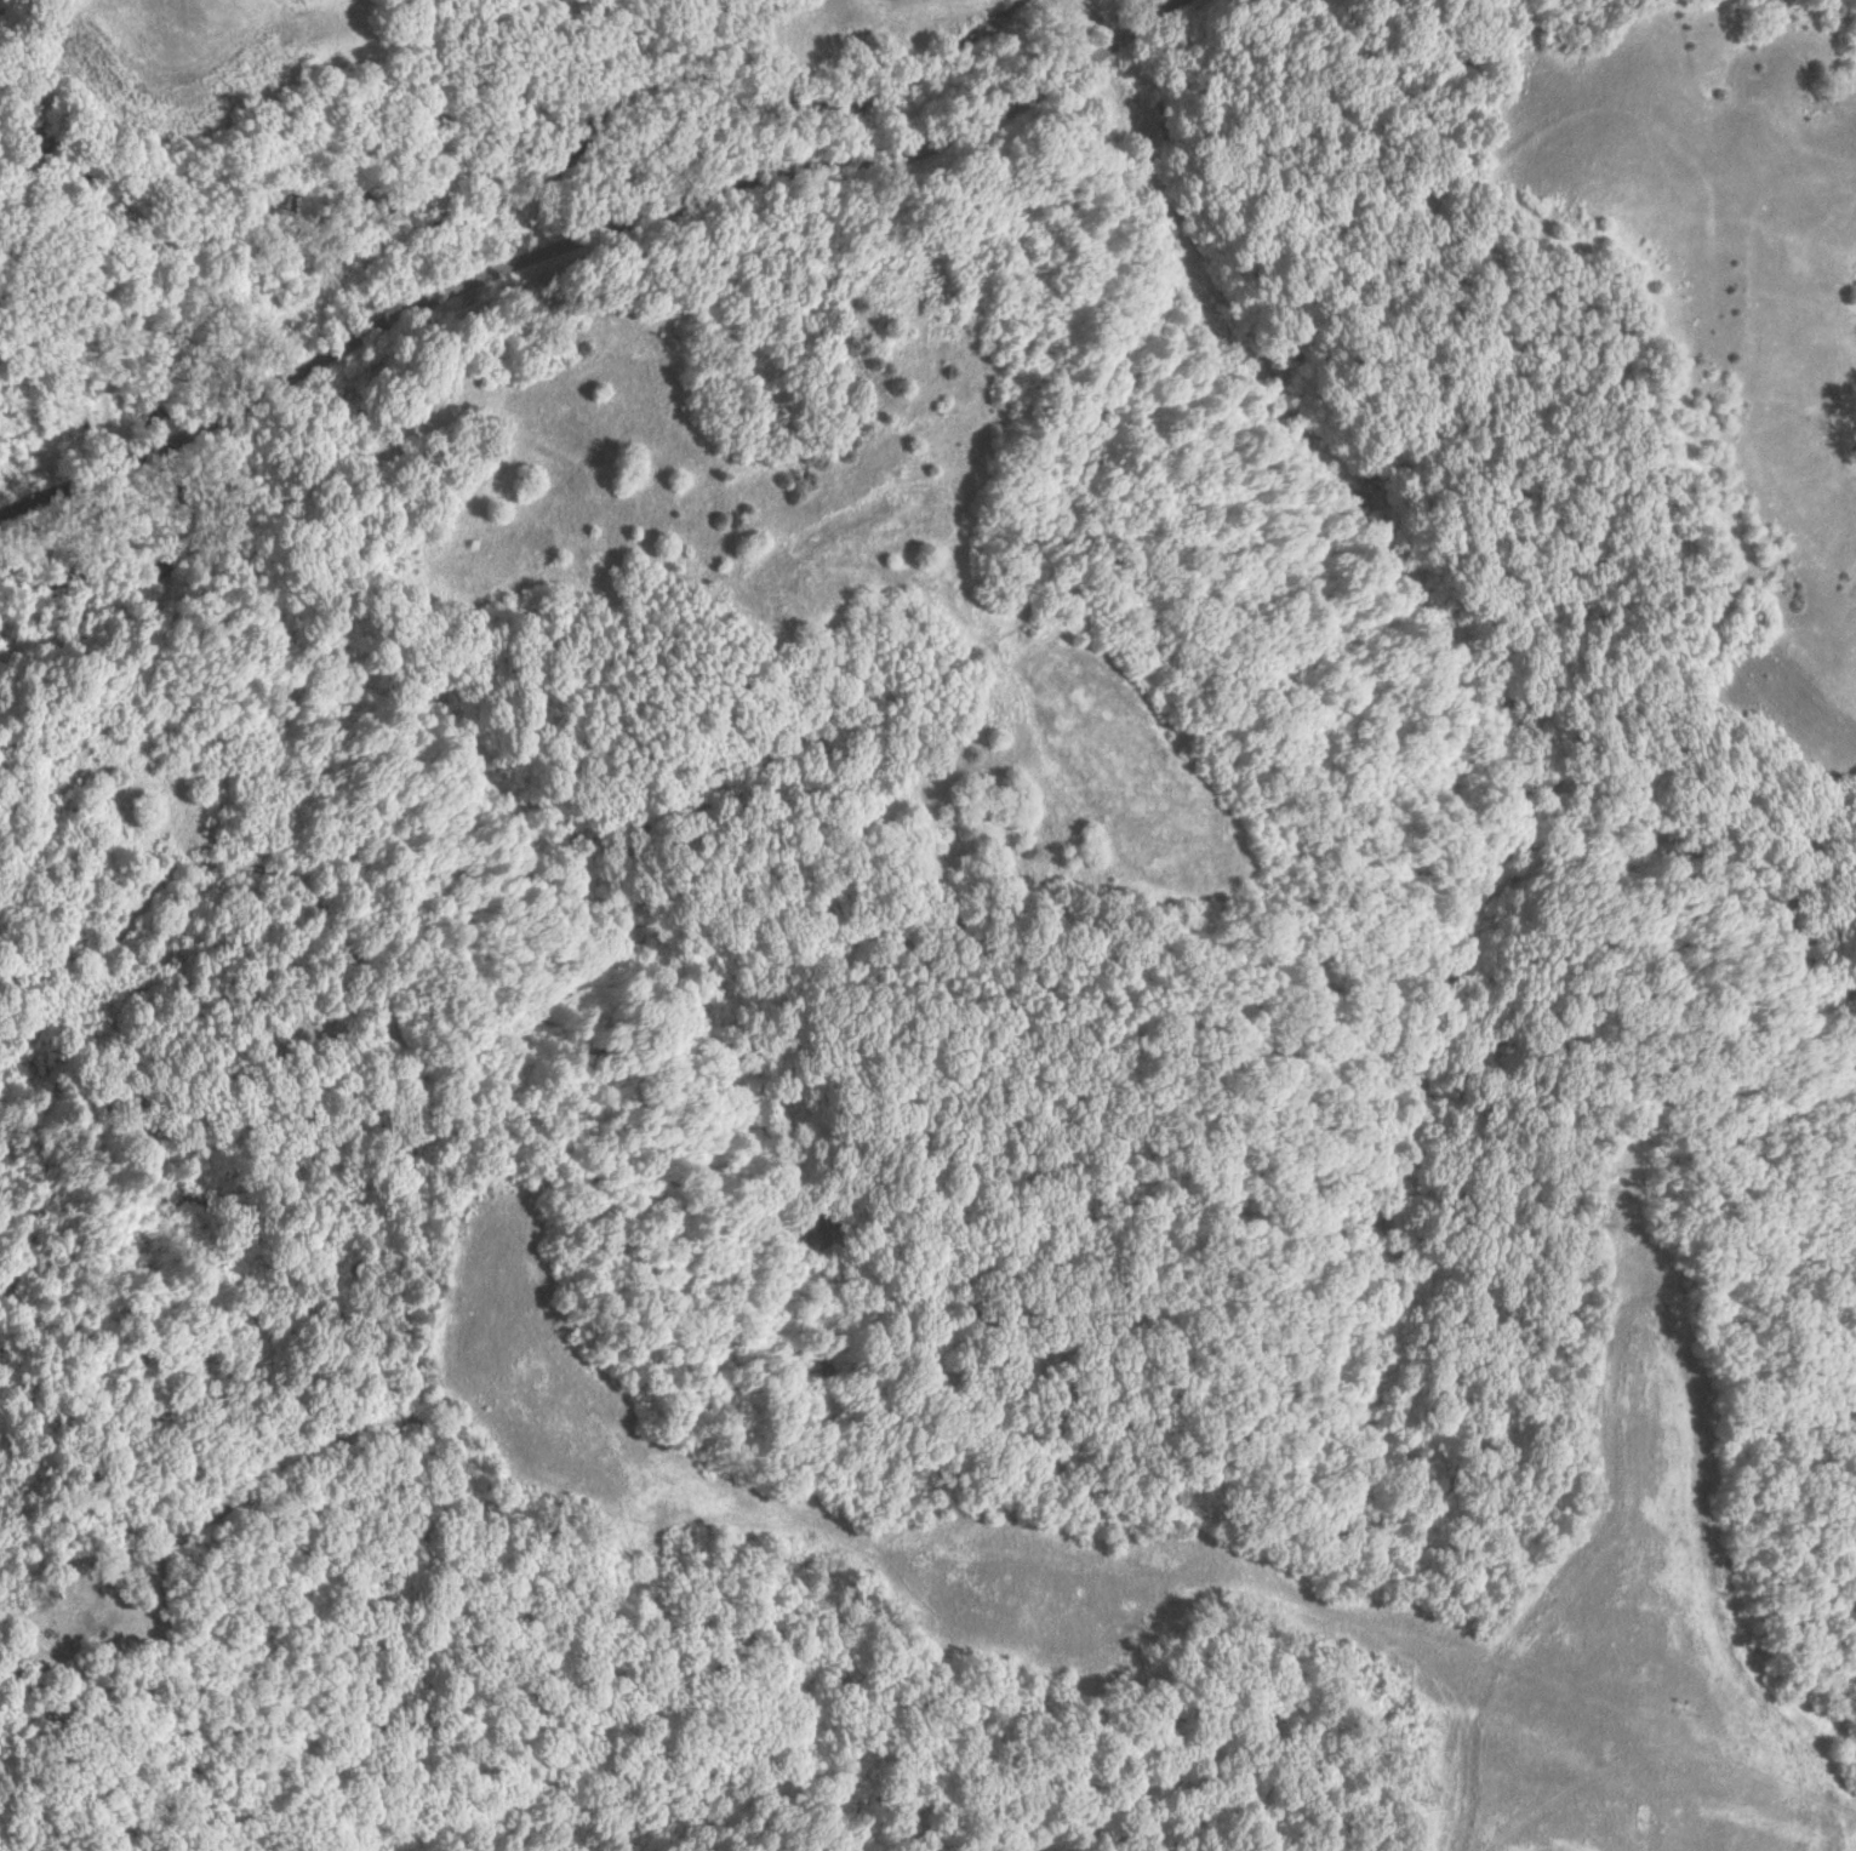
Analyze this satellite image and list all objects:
building: (1152, 121)
road: (584, 238)
building: (25, 447)

